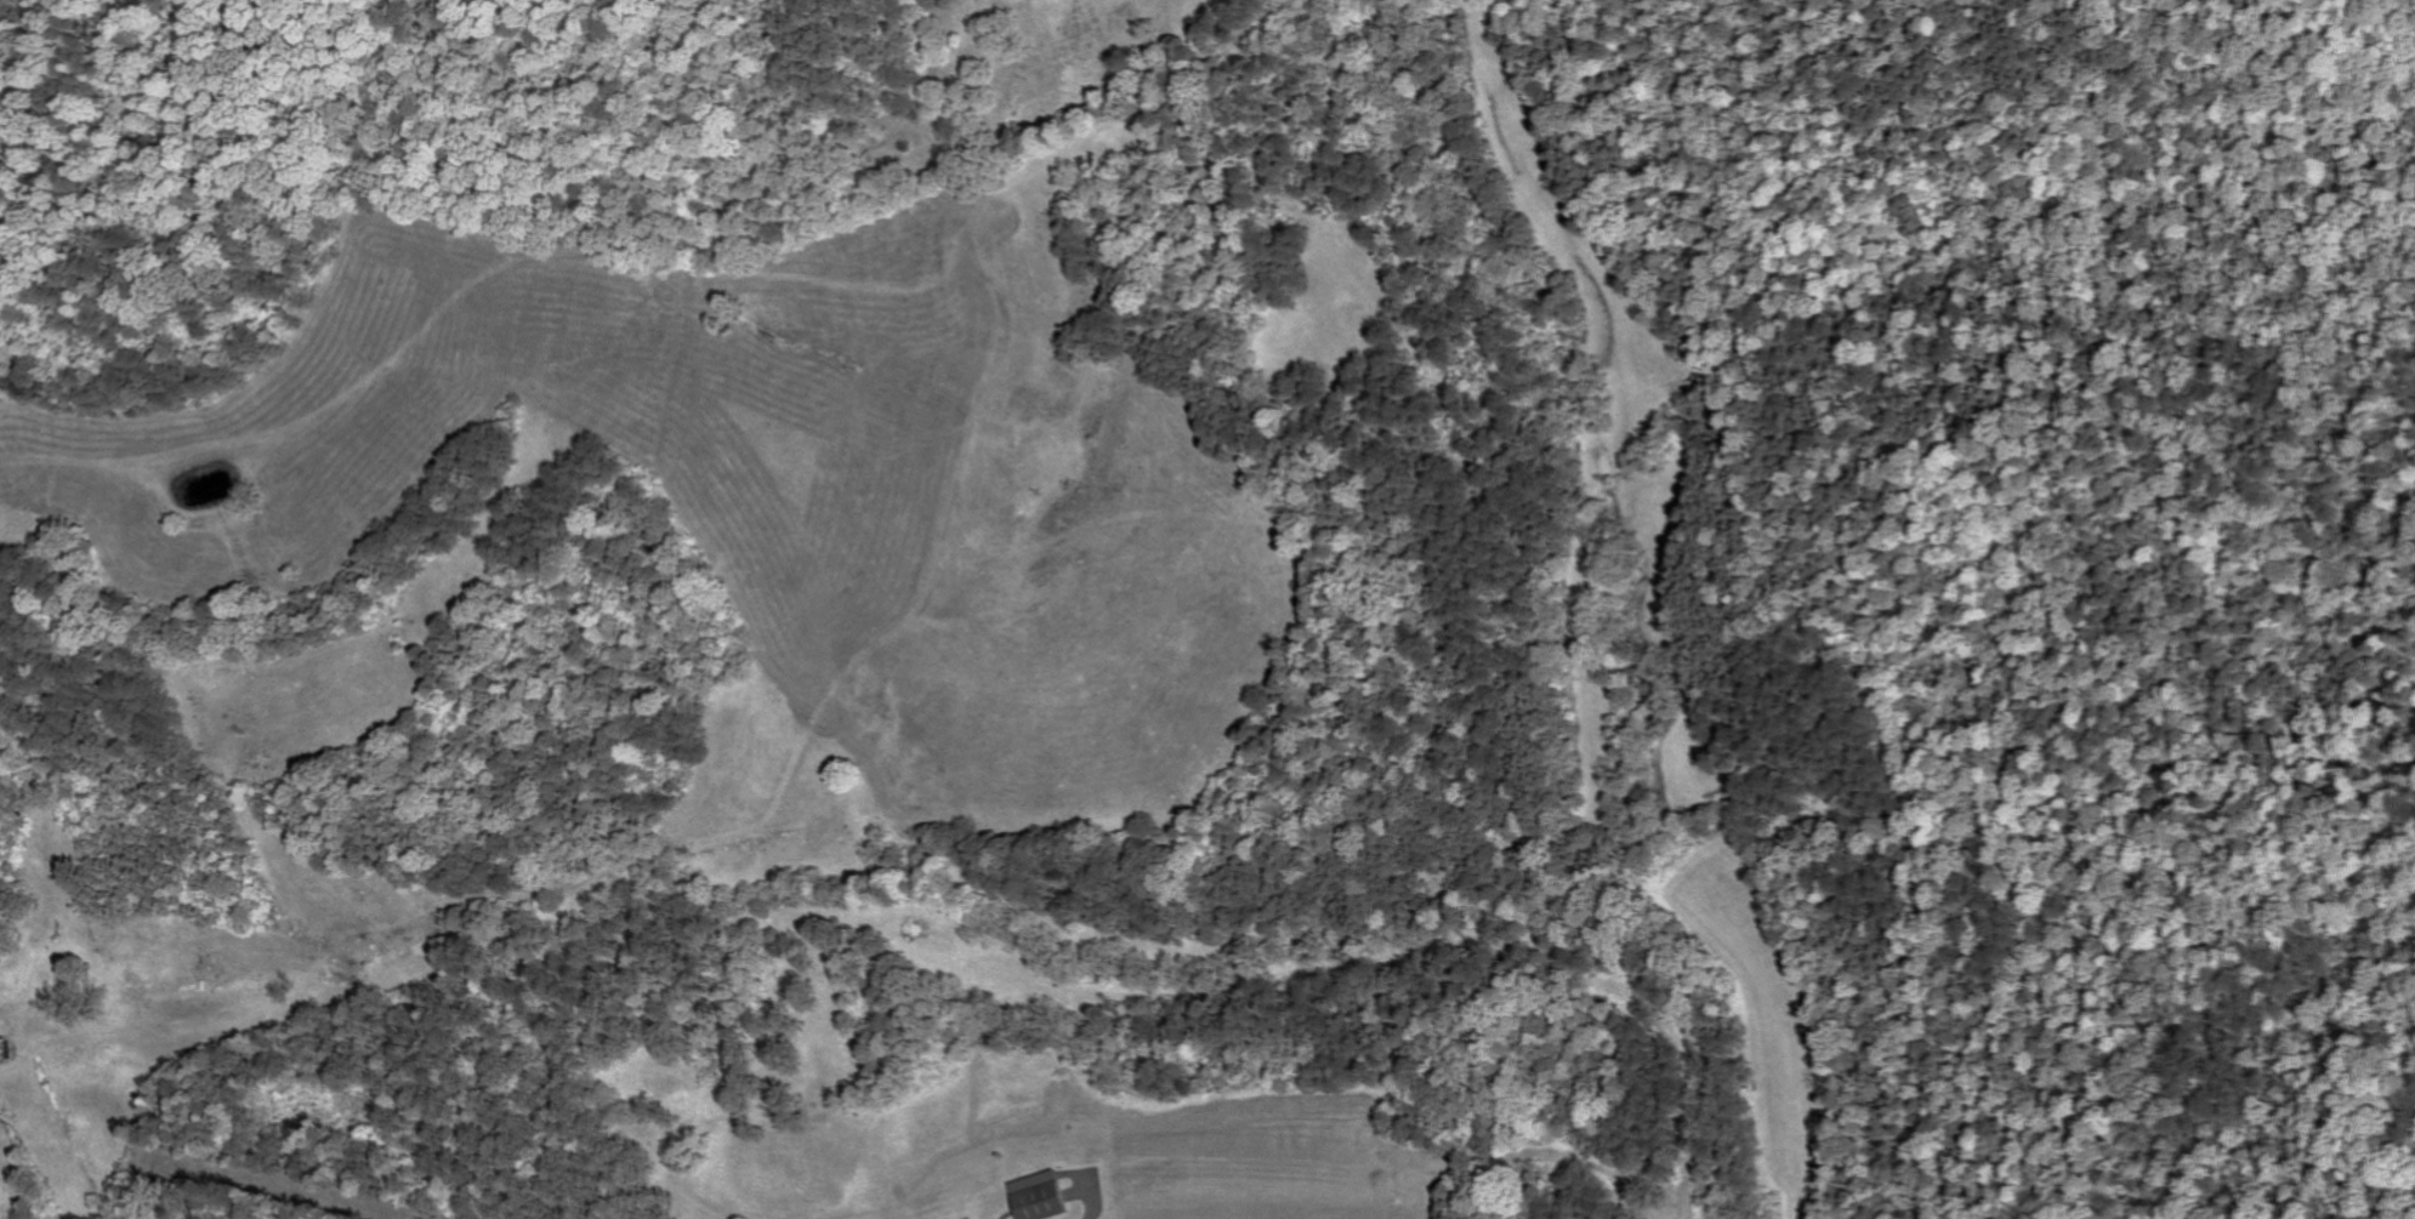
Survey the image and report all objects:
building: (1040, 1196)

